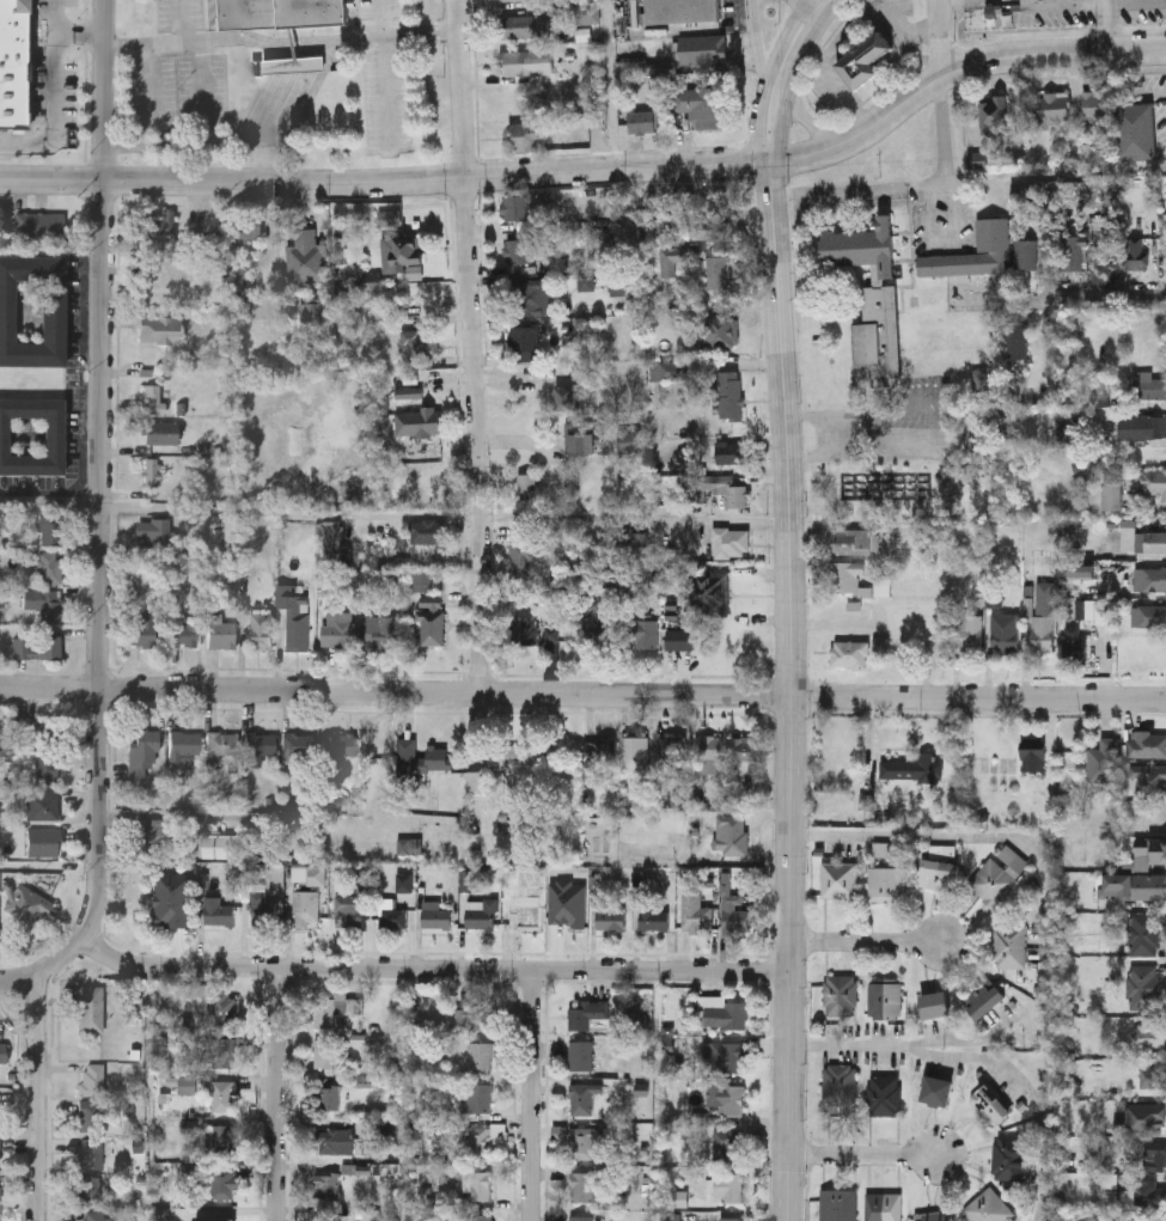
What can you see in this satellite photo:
building: (517, 0)
road: (799, 2)
road: (807, 2)
road: (1092, 2)
parking lot: (380, 8)
building: (679, 11)
parking lot: (1143, 12)
building: (275, 13)
road: (814, 13)
parking lot: (1058, 13)
parking lot: (179, 14)
road: (1111, 26)
building: (518, 28)
road: (908, 29)
road: (80, 36)
road: (758, 36)
road: (785, 37)
road: (941, 38)
road: (279, 44)
building: (702, 48)
building: (521, 62)
building: (863, 62)
building: (13, 63)
road: (792, 75)
road: (611, 86)
parking lot: (179, 94)
road: (56, 99)
parking lot: (386, 100)
building: (697, 102)
building: (1098, 104)
building: (1052, 106)
road: (294, 111)
building: (994, 114)
road: (759, 118)
road: (806, 120)
building: (641, 121)
building: (1136, 130)
building: (533, 135)
road: (226, 145)
road: (596, 172)
road: (911, 184)
building: (515, 204)
building: (667, 220)
building: (160, 225)
building: (245, 225)
building: (710, 225)
building: (39, 227)
building: (993, 236)
building: (519, 250)
building: (401, 251)
building: (1072, 251)
building: (1136, 251)
building: (1027, 252)
building: (306, 256)
building: (678, 256)
building: (718, 273)
building: (871, 293)
building: (527, 297)
road: (1093, 300)
building: (32, 310)
building: (159, 329)
building: (718, 329)
building: (523, 341)
building: (1017, 341)
building: (419, 343)
road: (470, 346)
building: (672, 368)
building: (1148, 384)
building: (729, 393)
building: (564, 397)
building: (151, 398)
building: (416, 421)
building: (1142, 426)
building: (159, 432)
building: (32, 435)
building: (579, 436)
building: (628, 439)
building: (726, 451)
road: (104, 470)
building: (151, 472)
building: (1150, 481)
building: (525, 484)
building: (716, 488)
building: (1112, 493)
road: (395, 509)
building: (48, 530)
building: (426, 530)
building: (152, 531)
building: (332, 541)
building: (853, 541)
building: (1154, 541)
building: (635, 542)
building: (731, 542)
building: (523, 554)
building: (48, 567)
building: (845, 574)
building: (1149, 578)
building: (708, 590)
building: (434, 599)
building: (994, 599)
building: (43, 602)
building: (1089, 608)
building: (293, 615)
building: (1148, 615)
building: (555, 625)
building: (429, 628)
building: (588, 628)
building: (142, 629)
building: (260, 629)
building: (523, 629)
building: (967, 629)
building: (380, 630)
building: (335, 631)
building: (642, 631)
building: (1044, 631)
building: (221, 634)
building: (183, 635)
building: (1006, 640)
building: (36, 645)
building: (881, 646)
building: (1075, 648)
building: (849, 653)
road: (792, 691)
road: (582, 694)
building: (222, 743)
building: (260, 744)
building: (340, 744)
building: (39, 745)
building: (1147, 745)
building: (183, 746)
building: (294, 746)
building: (745, 746)
building: (674, 751)
building: (407, 752)
building: (515, 752)
building: (597, 752)
building: (635, 752)
building: (709, 752)
building: (142, 753)
building: (437, 756)
building: (1033, 758)
building: (1099, 762)
building: (912, 767)
building: (1149, 777)
building: (476, 781)
building: (41, 804)
building: (733, 832)
building: (151, 834)
road: (963, 837)
building: (43, 841)
building: (219, 844)
building: (1149, 851)
building: (939, 872)
building: (997, 873)
building: (838, 877)
building: (886, 879)
building: (1135, 885)
building: (173, 898)
building: (28, 904)
building: (306, 905)
building: (262, 908)
building: (524, 908)
building: (348, 909)
building: (218, 910)
building: (566, 910)
building: (735, 911)
building: (696, 912)
building: (392, 914)
building: (481, 916)
building: (437, 917)
building: (611, 917)
building: (654, 917)
building: (1146, 933)
road: (865, 942)
building: (1009, 942)
road: (44, 967)
road: (431, 967)
building: (1144, 985)
building: (840, 993)
building: (983, 996)
building: (884, 999)
building: (934, 1002)
building: (90, 1008)
building: (224, 1008)
building: (336, 1008)
building: (724, 1012)
building: (587, 1014)
building: (474, 1015)
building: (1152, 1032)
road: (904, 1048)
building: (220, 1051)
building: (2, 1052)
building: (323, 1052)
building: (481, 1054)
building: (580, 1055)
building: (727, 1057)
road: (979, 1060)
building: (1153, 1076)
building: (91, 1079)
building: (838, 1083)
building: (936, 1089)
road: (44, 1093)
building: (884, 1093)
road: (279, 1094)
road: (532, 1094)
building: (222, 1095)
building: (328, 1097)
building: (482, 1097)
building: (727, 1097)
building: (581, 1098)
building: (989, 1103)
building: (90, 1115)
building: (222, 1138)
building: (332, 1141)
building: (477, 1141)
building: (580, 1142)
building: (727, 1143)
building: (0, 1150)
building: (91, 1153)
building: (1155, 1154)
building: (1008, 1155)
road: (863, 1156)
building: (221, 1183)
building: (477, 1184)
building: (325, 1185)
building: (585, 1186)
building: (728, 1186)
building: (87, 1189)
road: (1044, 1189)
building: (1149, 1192)
building: (838, 1204)
building: (883, 1205)
building: (988, 1205)
building: (935, 1214)
building: (324, 1215)
building: (91, 1216)
building: (224, 1217)
building: (481, 1217)
building: (580, 1217)
building: (1152, 1217)
building: (732, 1219)

